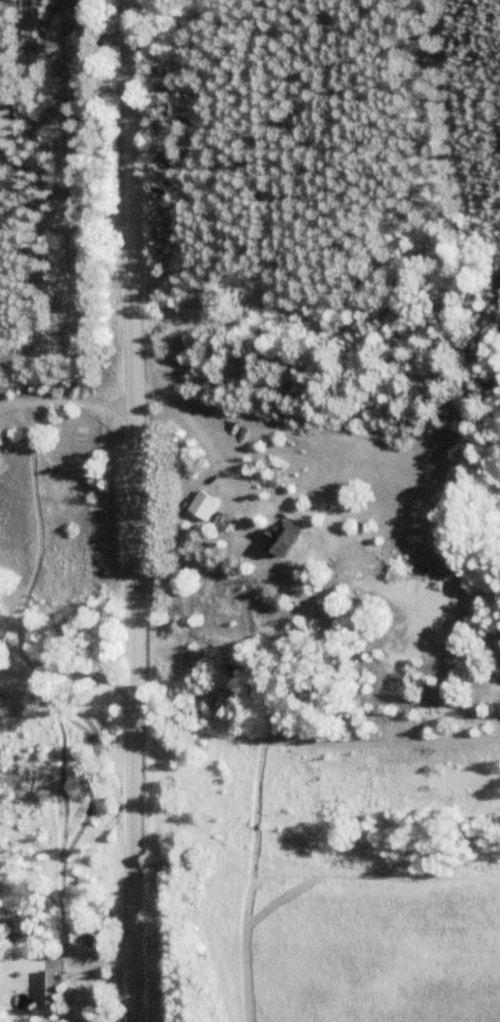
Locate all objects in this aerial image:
road: (67, 402)
building: (208, 504)
road: (134, 510)
building: (288, 536)
building: (52, 989)

